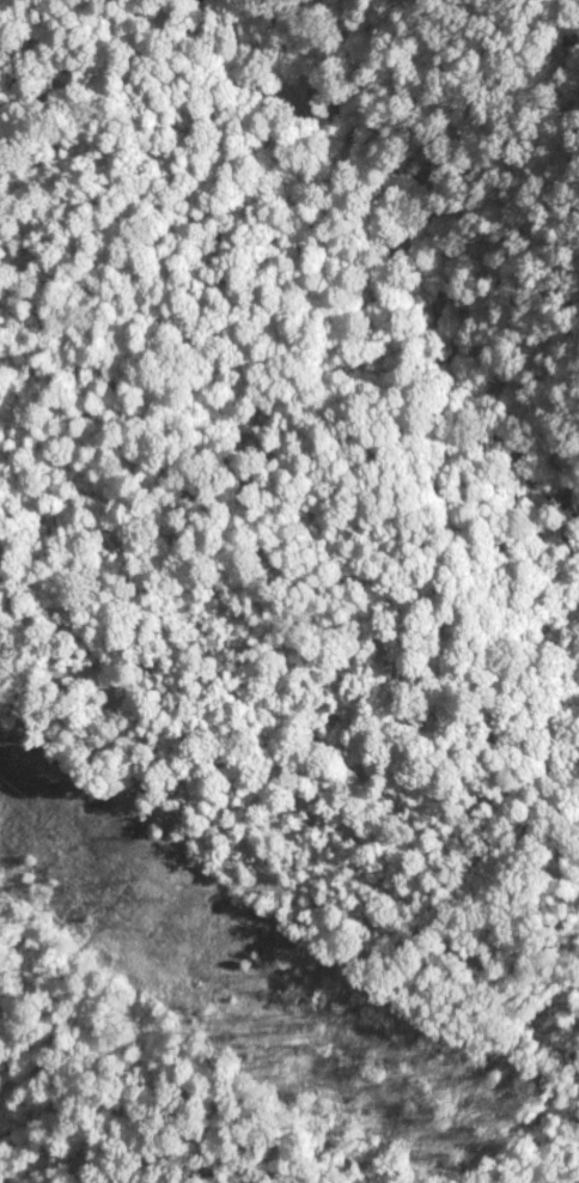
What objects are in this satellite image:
power tower: (146, 904)

